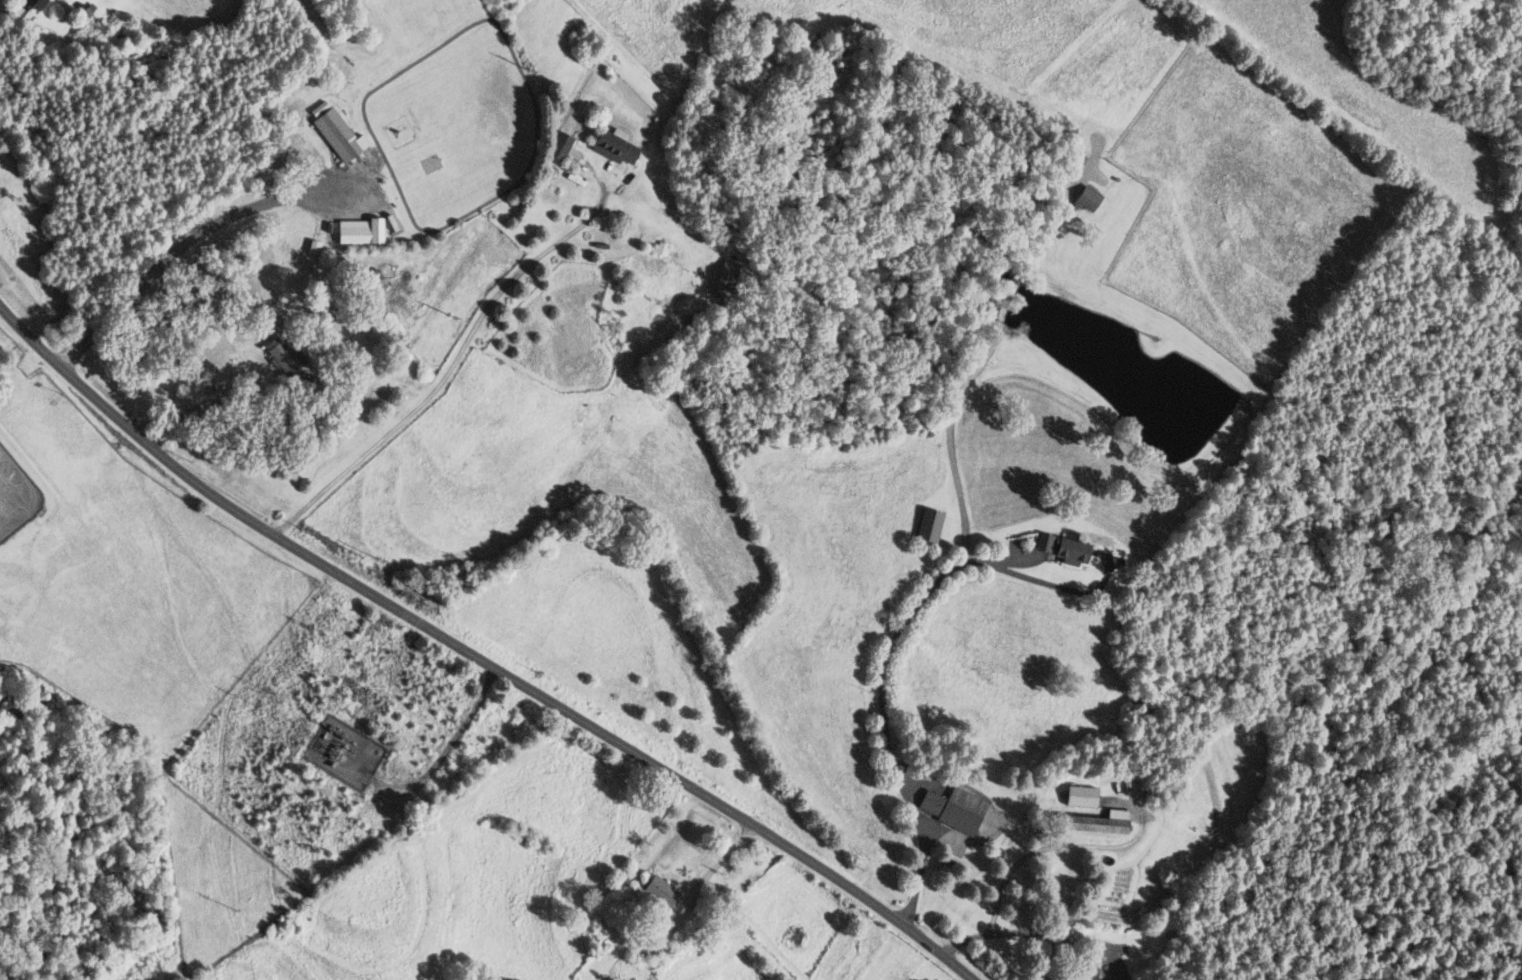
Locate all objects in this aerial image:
building: (34, 3)
building: (335, 133)
building: (558, 145)
building: (612, 145)
building: (1072, 165)
building: (1086, 198)
building: (347, 233)
road: (185, 239)
building: (669, 269)
building: (723, 277)
road: (455, 357)
road: (200, 399)
building: (929, 525)
road: (964, 532)
building: (1060, 548)
road: (1045, 582)
road: (471, 655)
road: (448, 743)
power substation: (343, 751)
building: (950, 809)
building: (1090, 822)
road: (713, 868)
building: (657, 891)
road: (1036, 934)
building: (644, 947)
building: (1083, 968)

